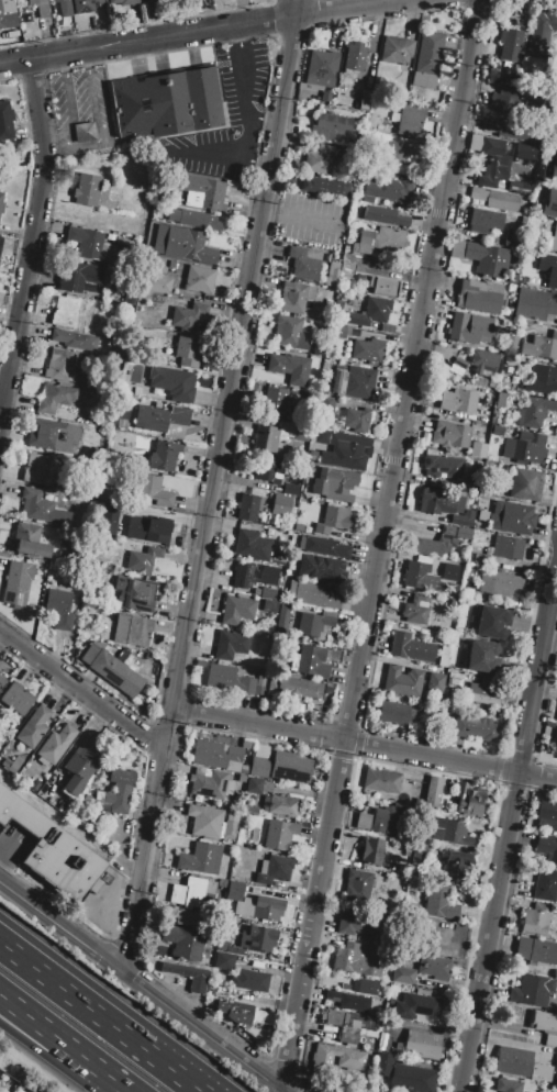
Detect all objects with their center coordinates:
building: (145, 0)
building: (123, 2)
building: (86, 5)
building: (40, 7)
building: (64, 8)
road: (293, 8)
building: (8, 14)
building: (542, 30)
road: (196, 35)
building: (510, 44)
building: (397, 49)
building: (355, 56)
building: (426, 62)
building: (532, 64)
building: (322, 68)
road: (244, 88)
building: (325, 97)
road: (92, 98)
building: (166, 102)
building: (506, 102)
parking lot: (82, 115)
building: (408, 120)
building: (5, 122)
building: (330, 125)
building: (511, 129)
building: (82, 131)
building: (524, 152)
road: (222, 153)
building: (397, 156)
building: (319, 158)
building: (493, 165)
building: (553, 170)
building: (513, 185)
building: (389, 189)
building: (86, 190)
building: (200, 190)
building: (495, 199)
building: (1, 202)
building: (549, 202)
building: (383, 215)
building: (193, 219)
road: (300, 219)
parking lot: (310, 220)
building: (484, 220)
road: (32, 237)
building: (0, 238)
building: (554, 241)
building: (379, 242)
building: (91, 244)
building: (182, 244)
building: (487, 259)
building: (305, 261)
building: (547, 263)
building: (385, 264)
building: (458, 266)
building: (346, 267)
building: (78, 275)
building: (332, 275)
building: (199, 279)
building: (157, 282)
building: (383, 286)
building: (479, 296)
building: (292, 297)
building: (534, 304)
building: (64, 312)
building: (370, 312)
building: (188, 316)
building: (469, 327)
building: (337, 331)
building: (290, 332)
building: (75, 339)
building: (511, 345)
building: (541, 346)
building: (187, 350)
building: (368, 350)
building: (484, 363)
building: (60, 365)
building: (457, 366)
building: (290, 368)
building: (542, 380)
building: (172, 382)
building: (354, 382)
building: (484, 382)
building: (54, 398)
building: (502, 399)
building: (458, 401)
building: (274, 402)
building: (325, 403)
building: (535, 411)
building: (159, 417)
building: (356, 420)
building: (497, 430)
building: (300, 432)
building: (449, 434)
building: (53, 435)
building: (265, 438)
building: (321, 438)
building: (525, 448)
building: (164, 456)
building: (346, 456)
building: (442, 466)
building: (35, 468)
building: (268, 470)
road: (208, 484)
building: (334, 484)
building: (525, 484)
building: (290, 489)
building: (486, 489)
building: (153, 490)
building: (36, 505)
building: (280, 505)
building: (445, 506)
building: (248, 508)
building: (512, 517)
building: (107, 519)
building: (333, 520)
building: (157, 526)
building: (455, 532)
building: (30, 541)
building: (253, 544)
building: (432, 545)
building: (324, 546)
road: (385, 546)
building: (506, 547)
building: (143, 559)
building: (321, 568)
building: (449, 571)
building: (245, 573)
building: (415, 573)
building: (267, 575)
building: (500, 582)
building: (16, 583)
building: (268, 592)
building: (135, 593)
building: (312, 593)
building: (269, 605)
building: (58, 609)
building: (416, 609)
building: (236, 610)
building: (282, 619)
building: (490, 622)
building: (313, 623)
building: (121, 627)
building: (138, 631)
building: (230, 644)
building: (410, 646)
building: (442, 655)
building: (480, 656)
building: (311, 661)
building: (111, 669)
building: (229, 679)
building: (1, 680)
building: (402, 681)
road: (79, 683)
building: (434, 683)
building: (299, 688)
building: (484, 694)
building: (16, 698)
building: (396, 714)
building: (556, 721)
building: (34, 726)
building: (474, 727)
building: (56, 744)
building: (554, 744)
road: (360, 745)
building: (216, 755)
building: (258, 760)
building: (290, 766)
building: (79, 768)
building: (381, 780)
building: (210, 782)
building: (258, 785)
building: (433, 791)
building: (119, 792)
building: (467, 802)
building: (281, 805)
building: (249, 809)
building: (546, 814)
building: (378, 820)
building: (205, 821)
road: (508, 824)
building: (229, 829)
building: (450, 832)
building: (279, 835)
road: (7, 840)
parking lot: (12, 844)
building: (547, 847)
building: (53, 849)
building: (372, 850)
building: (415, 853)
road: (7, 855)
building: (201, 858)
building: (456, 863)
building: (274, 869)
building: (545, 884)
building: (358, 887)
building: (235, 891)
building: (194, 892)
building: (439, 903)
building: (263, 907)
building: (183, 916)
building: (356, 920)
building: (535, 920)
building: (258, 939)
building: (187, 944)
building: (221, 945)
building: (536, 950)
building: (241, 951)
building: (350, 957)
building: (223, 960)
building: (434, 966)
building: (187, 973)
building: (402, 976)
building: (249, 980)
building: (365, 985)
road: (141, 987)
building: (532, 990)
building: (348, 1000)
building: (417, 1007)
building: (234, 1010)
road: (101, 1016)
building: (544, 1021)
building: (342, 1025)
building: (381, 1039)
road: (57, 1040)
building: (549, 1040)
building: (421, 1045)
building: (338, 1057)
road: (53, 1061)
building: (512, 1061)
building: (556, 1066)
building: (541, 1072)
building: (403, 1074)
building: (508, 1085)
road: (119, 1088)
building: (371, 1090)
building: (385, 1091)

